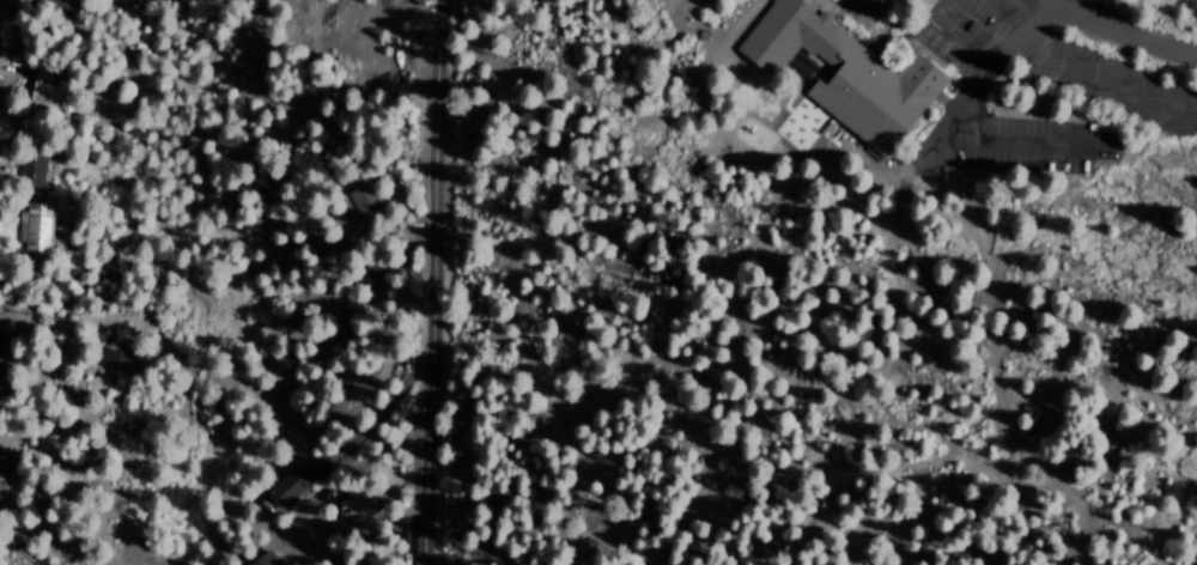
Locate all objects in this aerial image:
parking lot: (859, 7)
road: (954, 32)
road: (1130, 32)
road: (990, 66)
road: (1094, 73)
building: (845, 74)
parking lot: (1105, 81)
building: (40, 89)
road: (1021, 140)
building: (29, 169)
building: (34, 229)
road: (432, 282)
building: (286, 485)
building: (352, 497)
building: (262, 559)
building: (350, 564)

